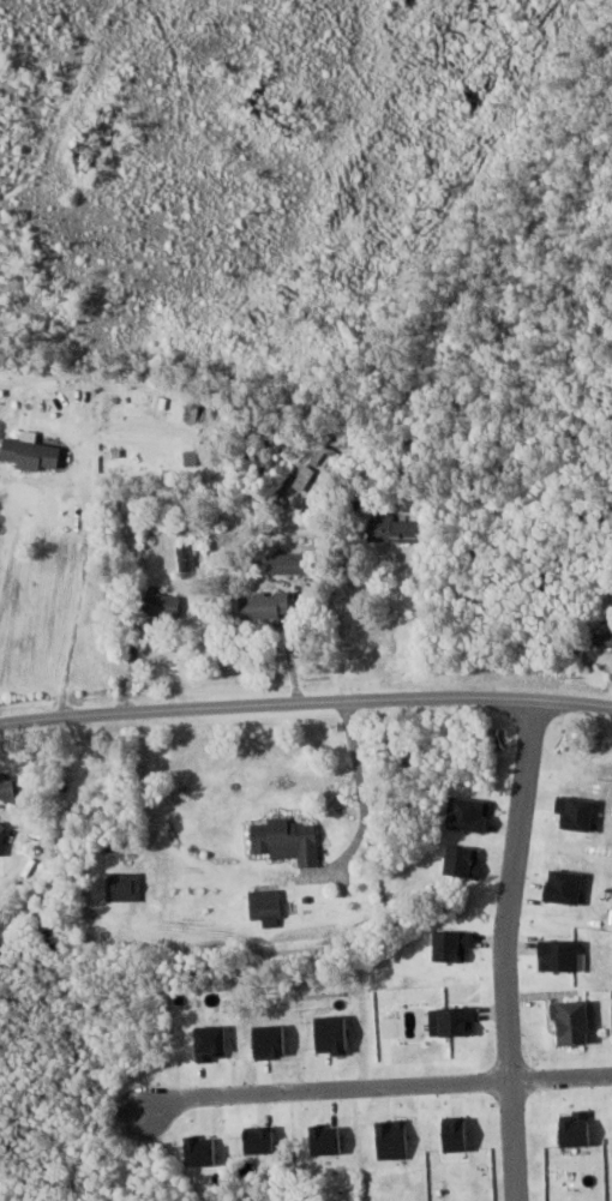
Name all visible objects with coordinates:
building: (31, 454)
building: (305, 478)
road: (5, 515)
building: (394, 528)
road: (84, 538)
building: (186, 557)
building: (293, 563)
building: (162, 602)
building: (265, 605)
building: (602, 639)
road: (131, 657)
road: (305, 705)
building: (6, 788)
road: (362, 805)
building: (288, 840)
building: (266, 907)
road: (511, 954)
building: (572, 1022)
road: (563, 1077)
road: (329, 1089)

